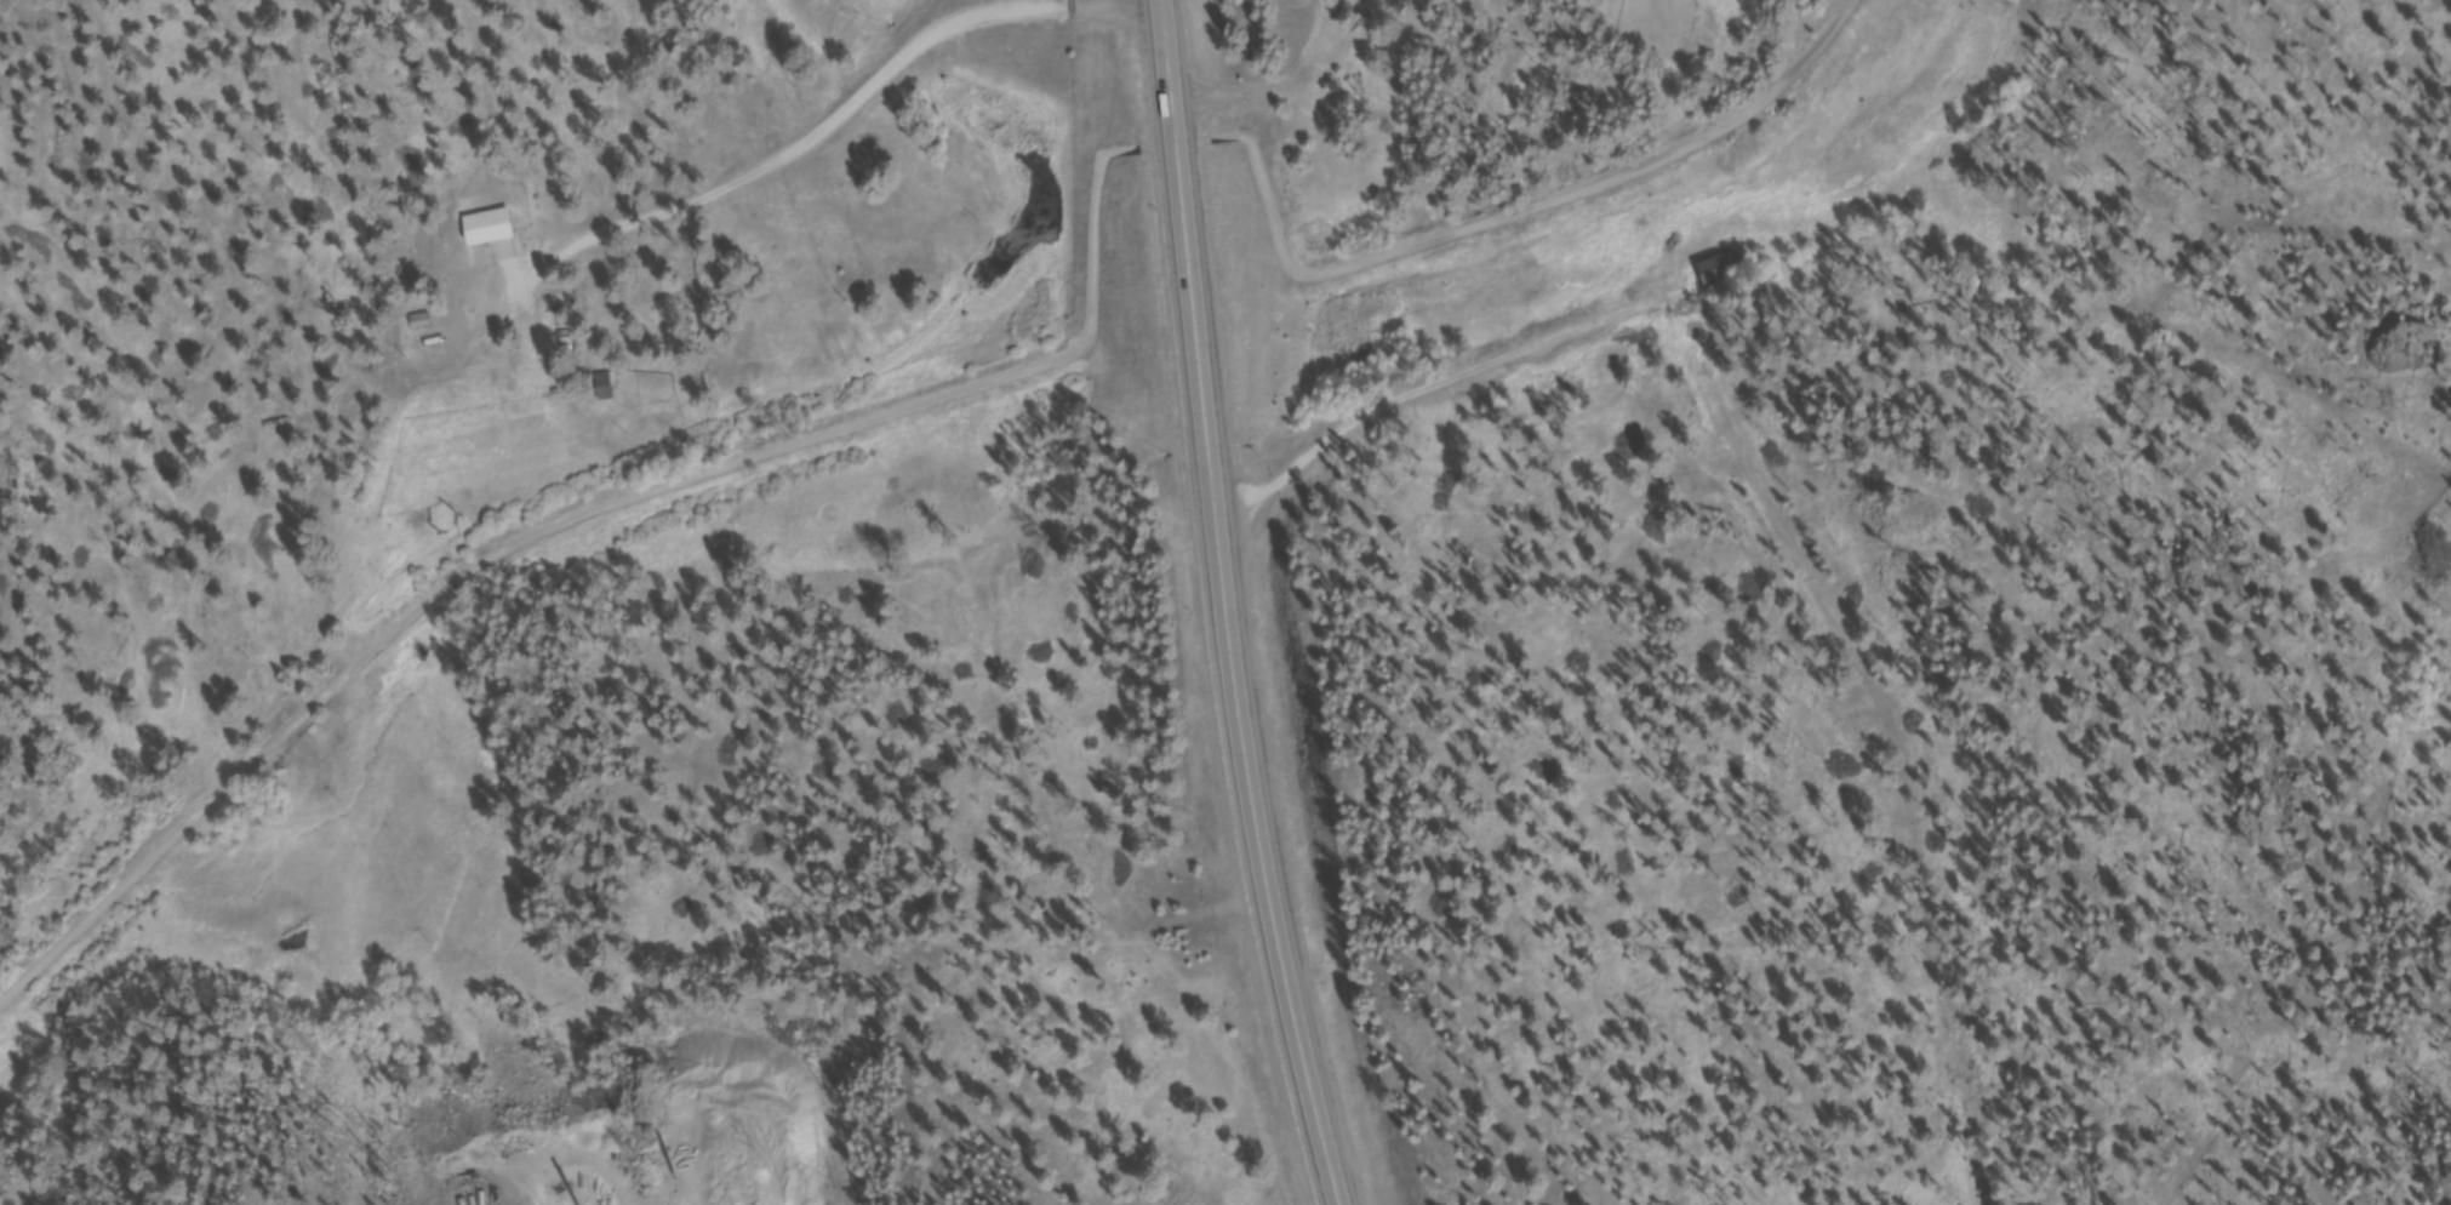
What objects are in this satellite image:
building: (1388, 0)
road: (2051, 18)
road: (1276, 85)
road: (2061, 88)
road: (845, 102)
road: (2258, 205)
road: (1529, 213)
building: (492, 232)
road: (1097, 234)
building: (1724, 273)
building: (424, 325)
building: (607, 390)
road: (1423, 392)
road: (486, 573)
road: (1227, 606)
road: (1862, 764)

